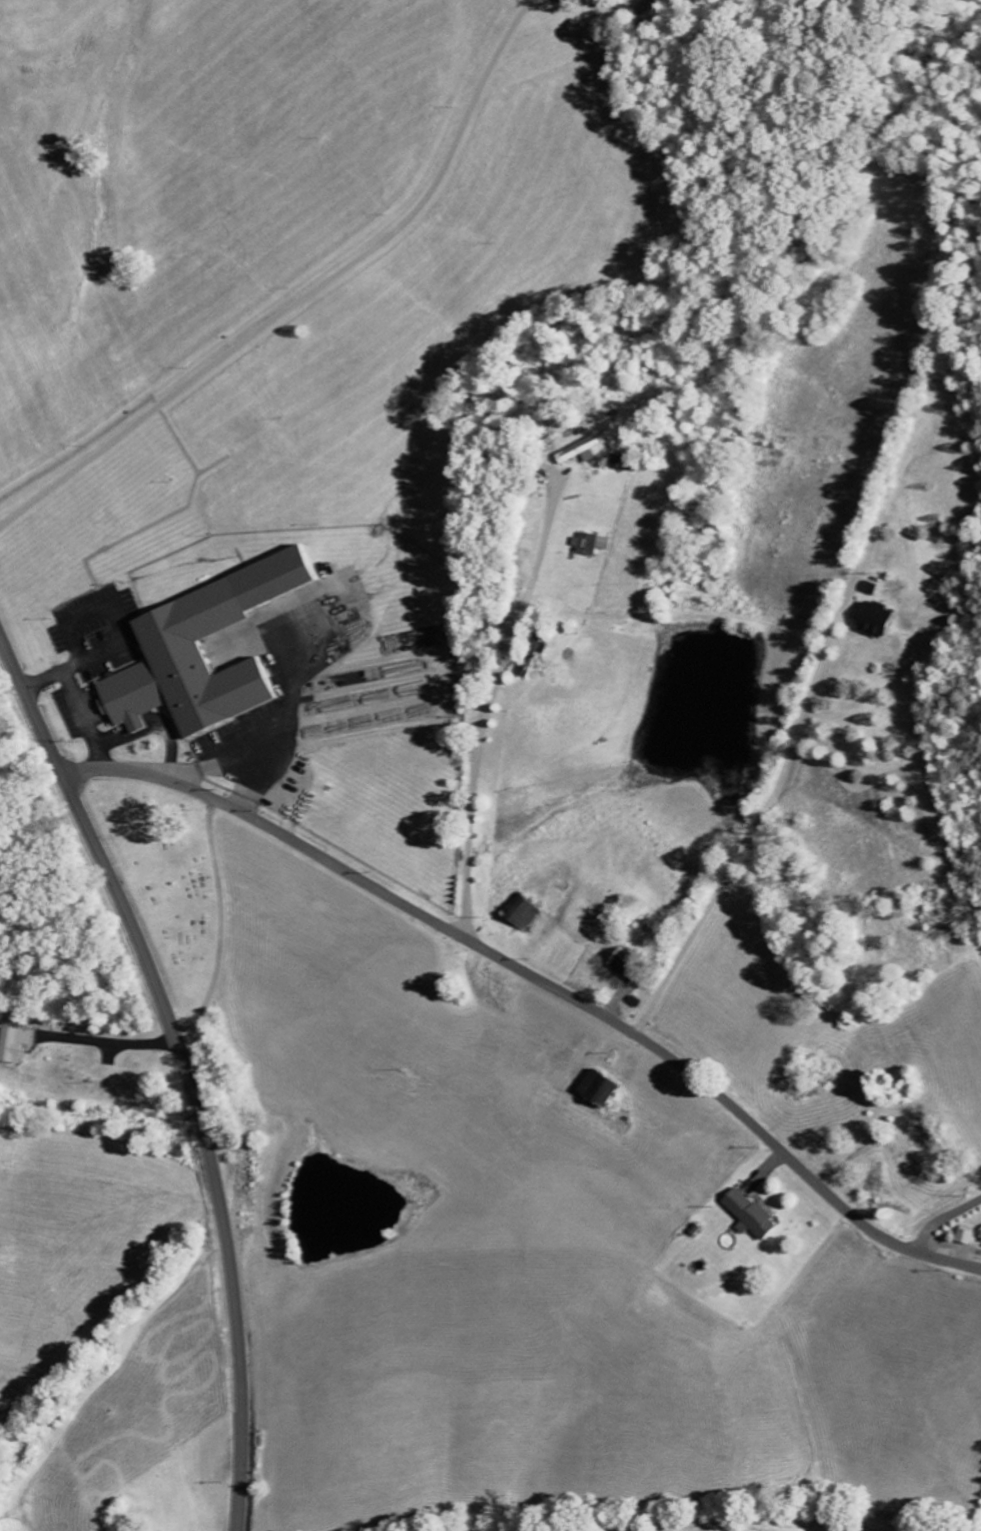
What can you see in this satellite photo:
building: (554, 0)
building: (580, 451)
building: (588, 544)
building: (868, 588)
building: (871, 618)
building: (198, 652)
building: (518, 914)
road: (539, 980)
building: (13, 1044)
road: (185, 1067)
building: (594, 1090)
building: (747, 1215)
road: (941, 1218)

